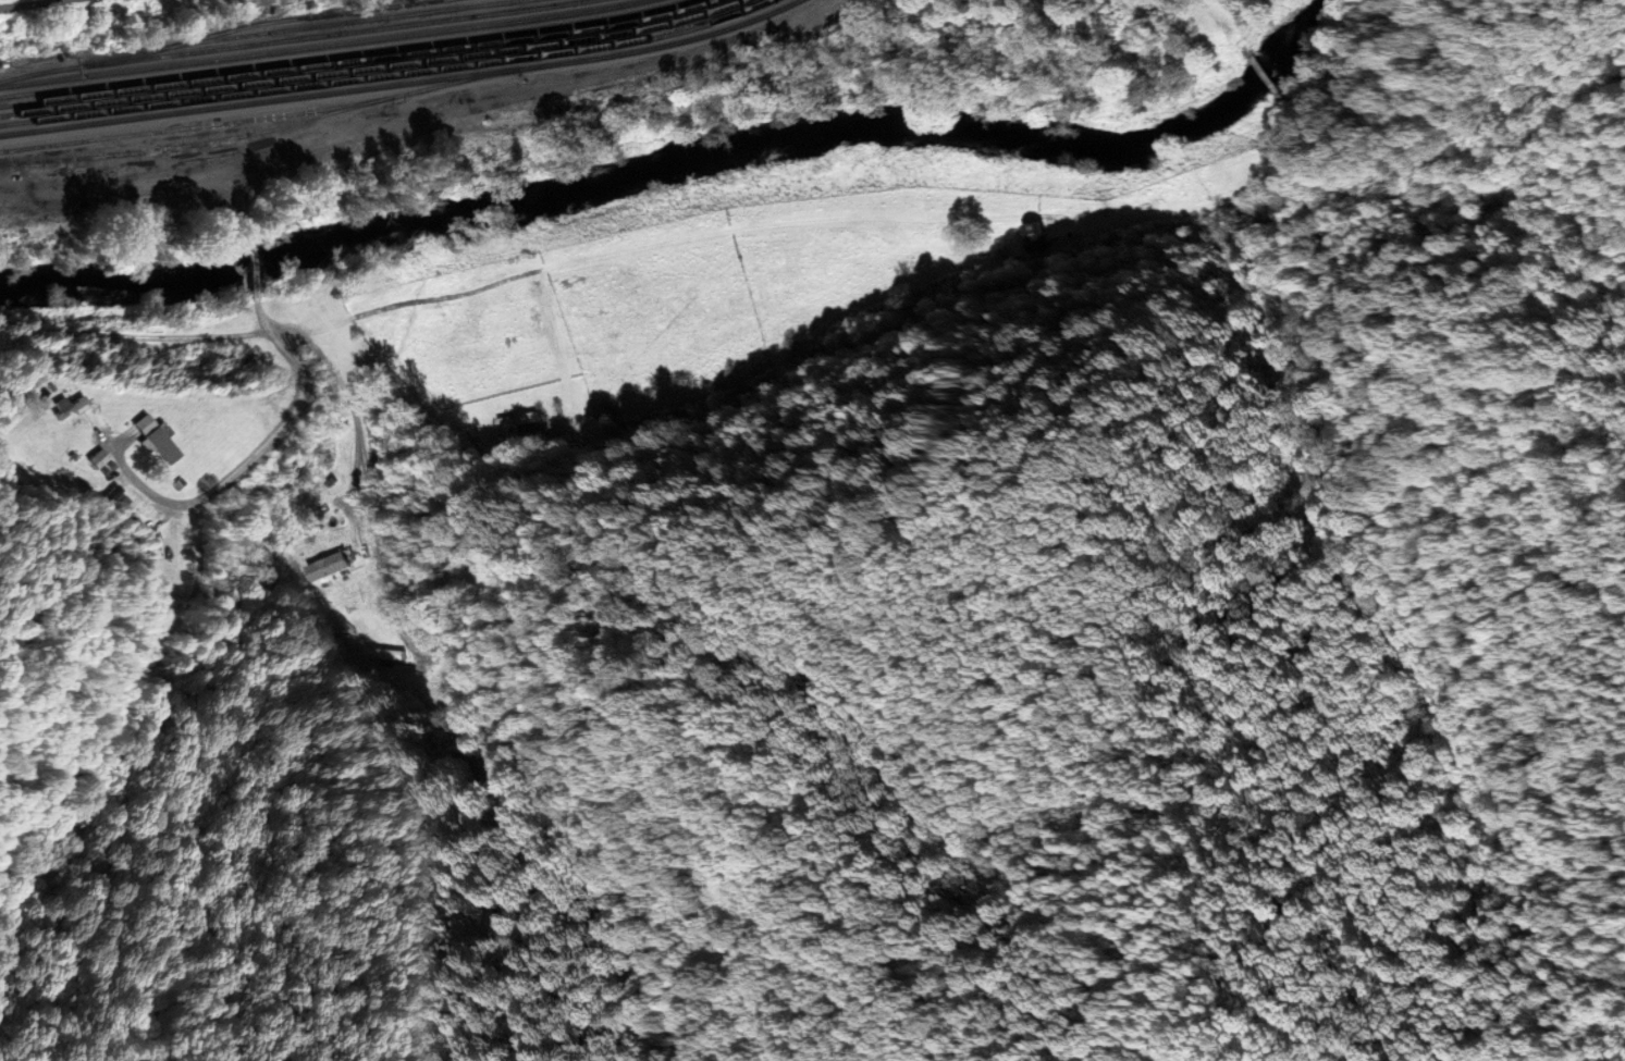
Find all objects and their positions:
road: (33, 3)
railway: (321, 48)
railway: (404, 84)
building: (1035, 238)
building: (999, 252)
road: (262, 319)
road: (134, 336)
building: (69, 407)
building: (519, 420)
building: (157, 437)
road: (367, 468)
building: (120, 503)
building: (331, 566)
road: (356, 570)

